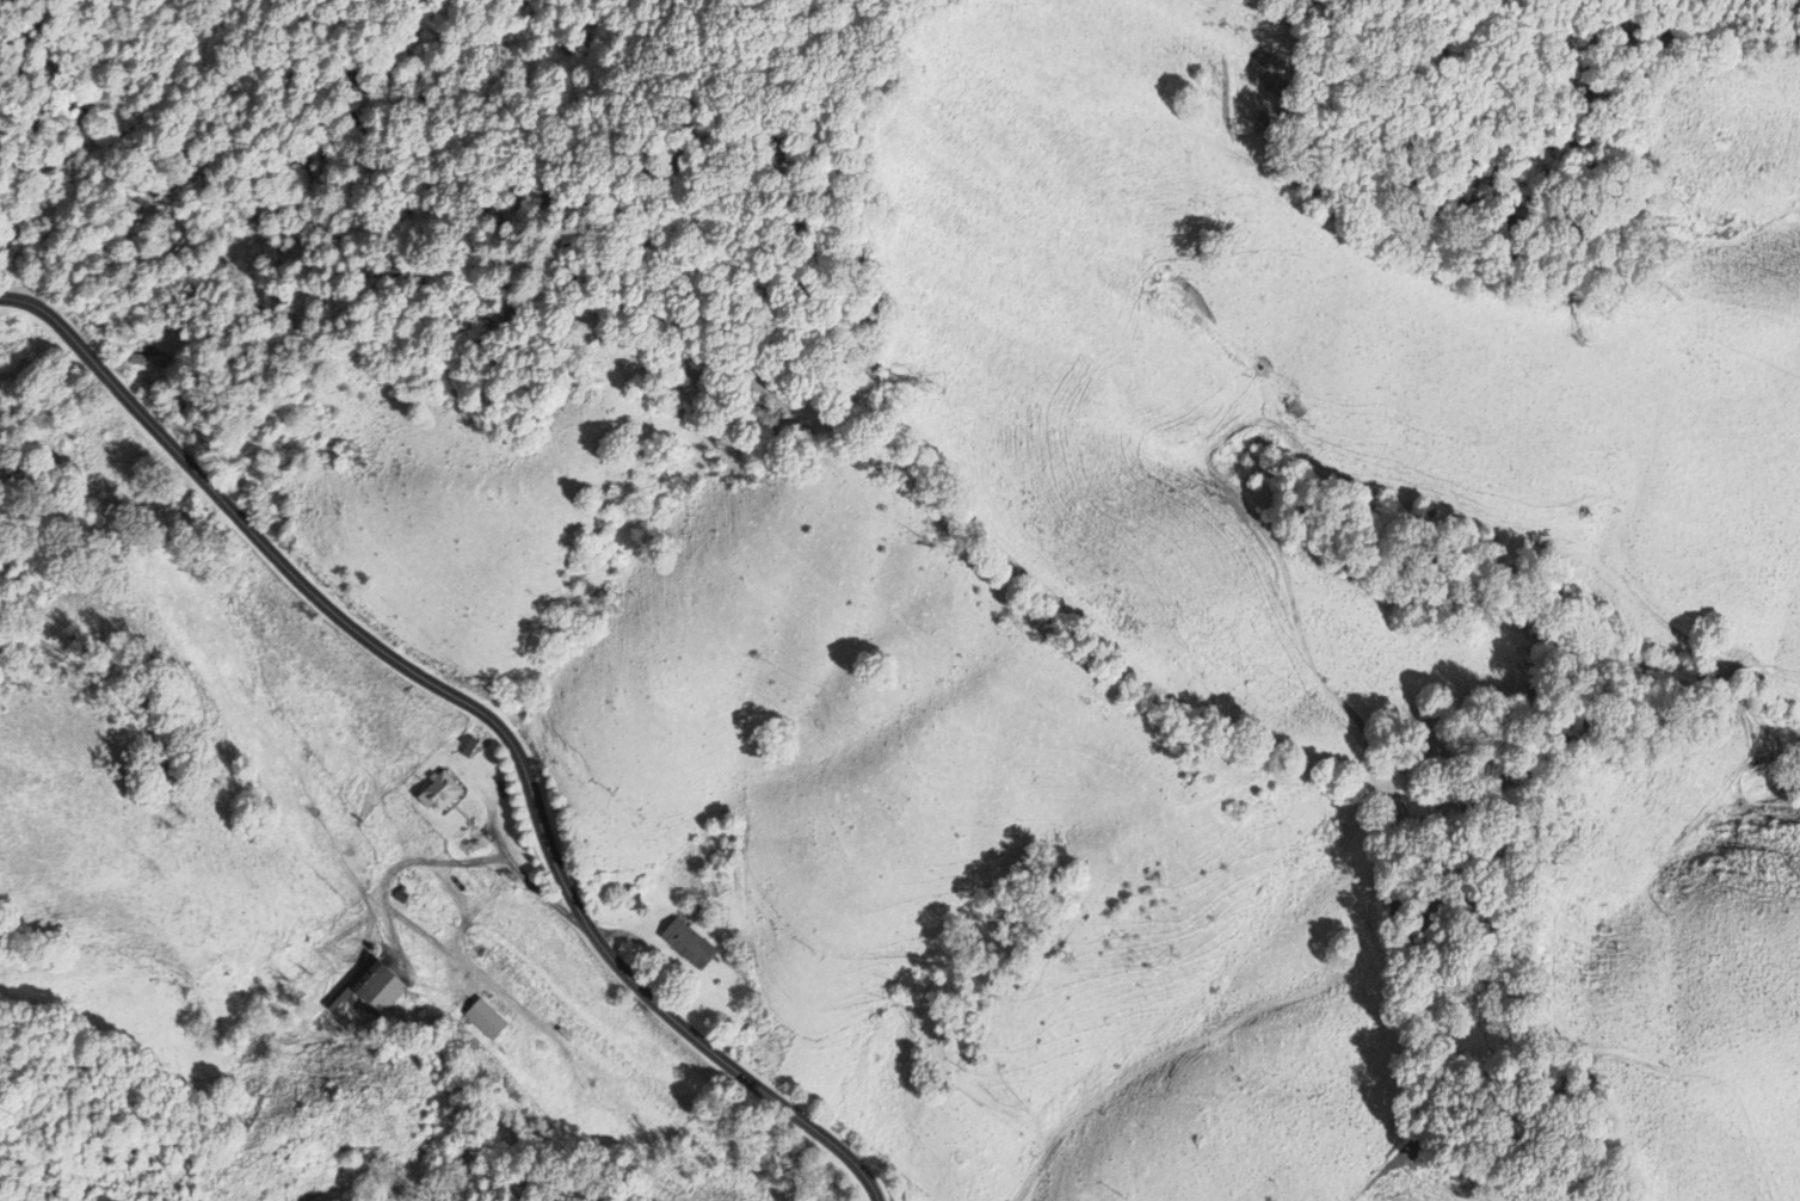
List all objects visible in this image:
road: (489, 708)
building: (440, 792)
building: (467, 844)
building: (688, 943)
building: (370, 986)
building: (486, 1020)

